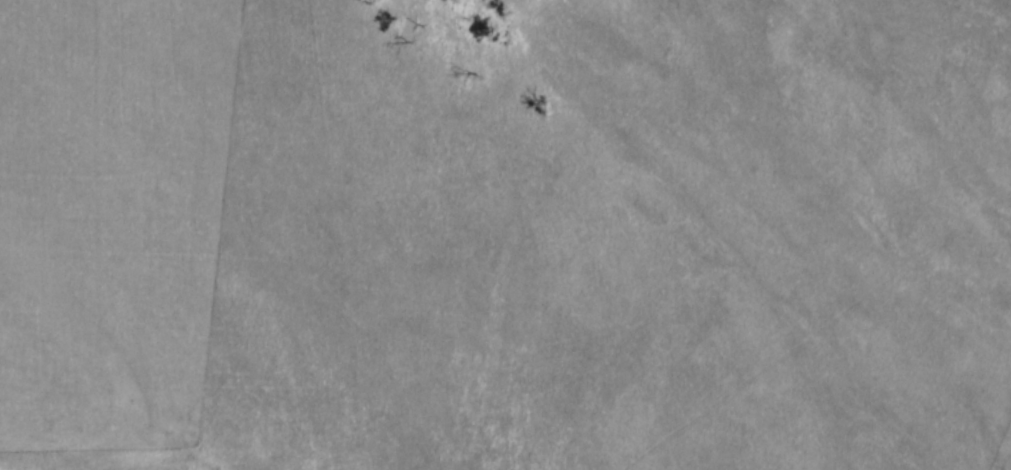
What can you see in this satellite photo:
crop: (1005, 456)

